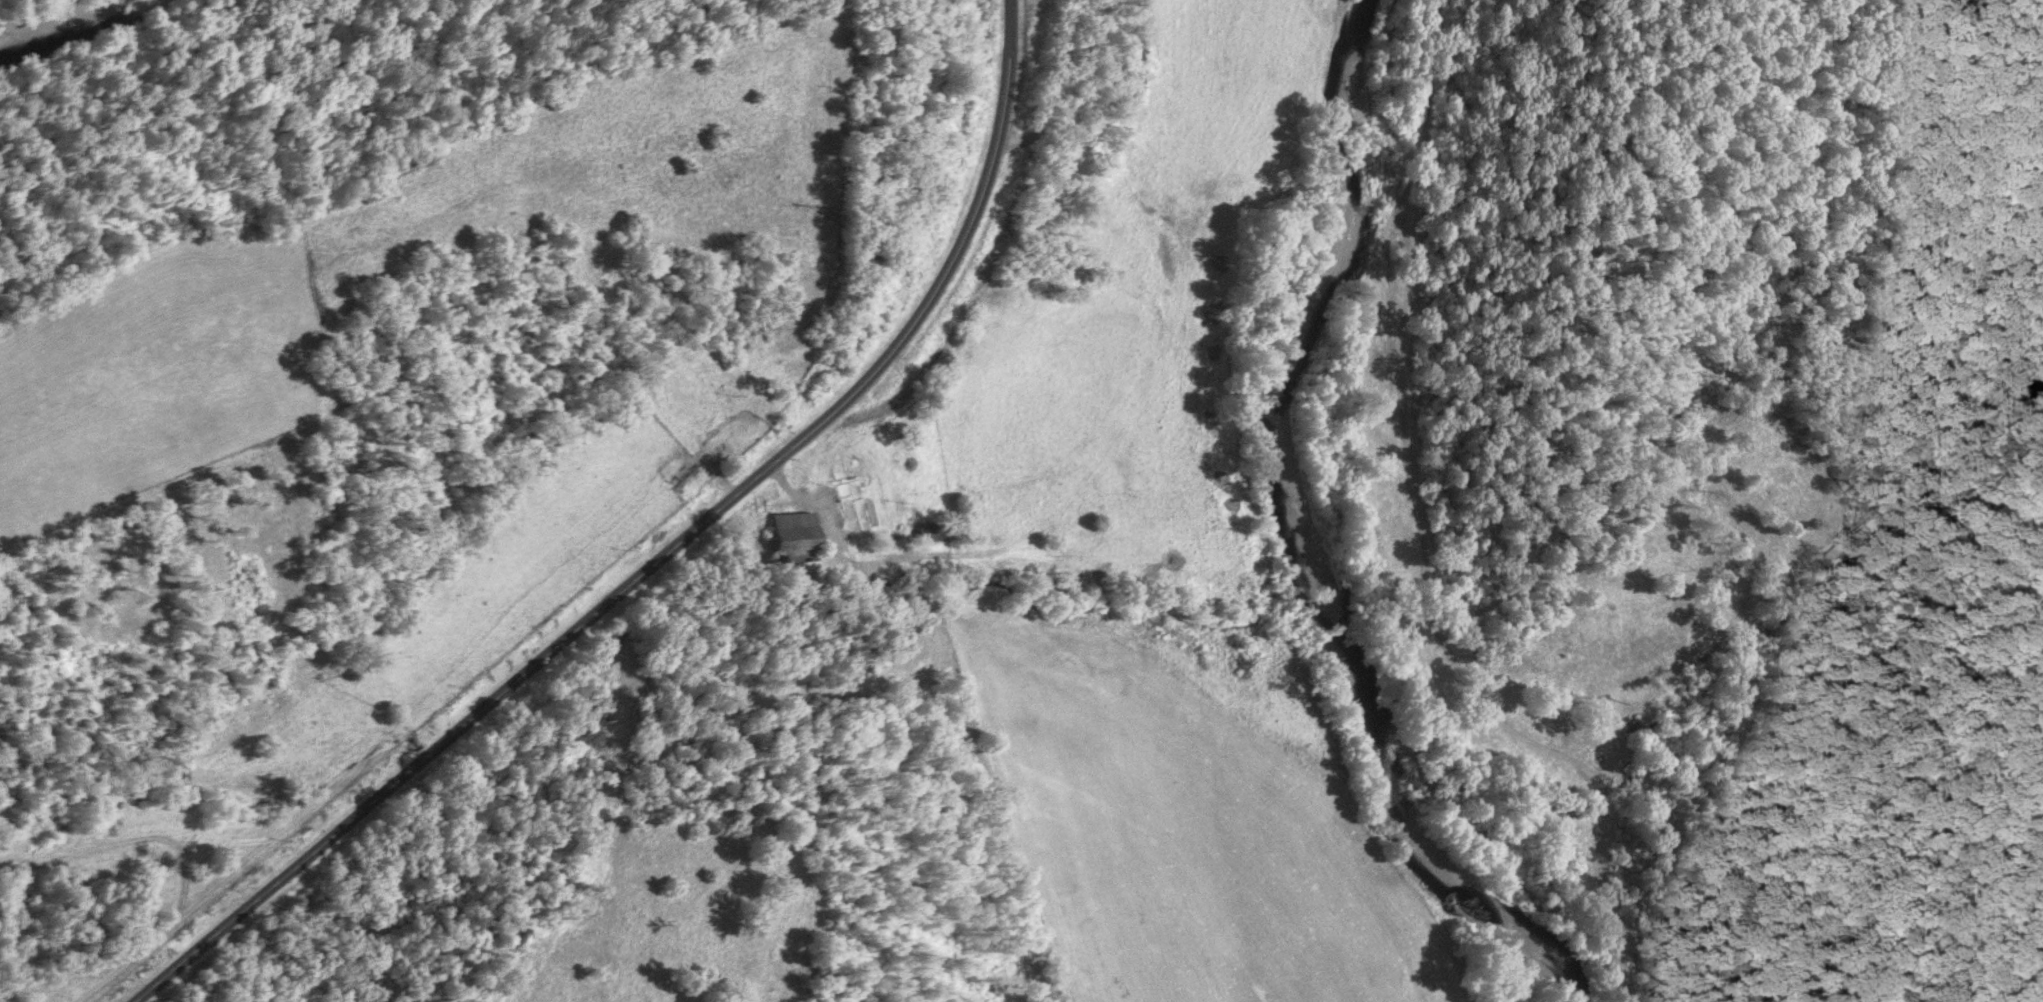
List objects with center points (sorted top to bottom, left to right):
building: (931, 532)
building: (795, 533)
road: (654, 556)

